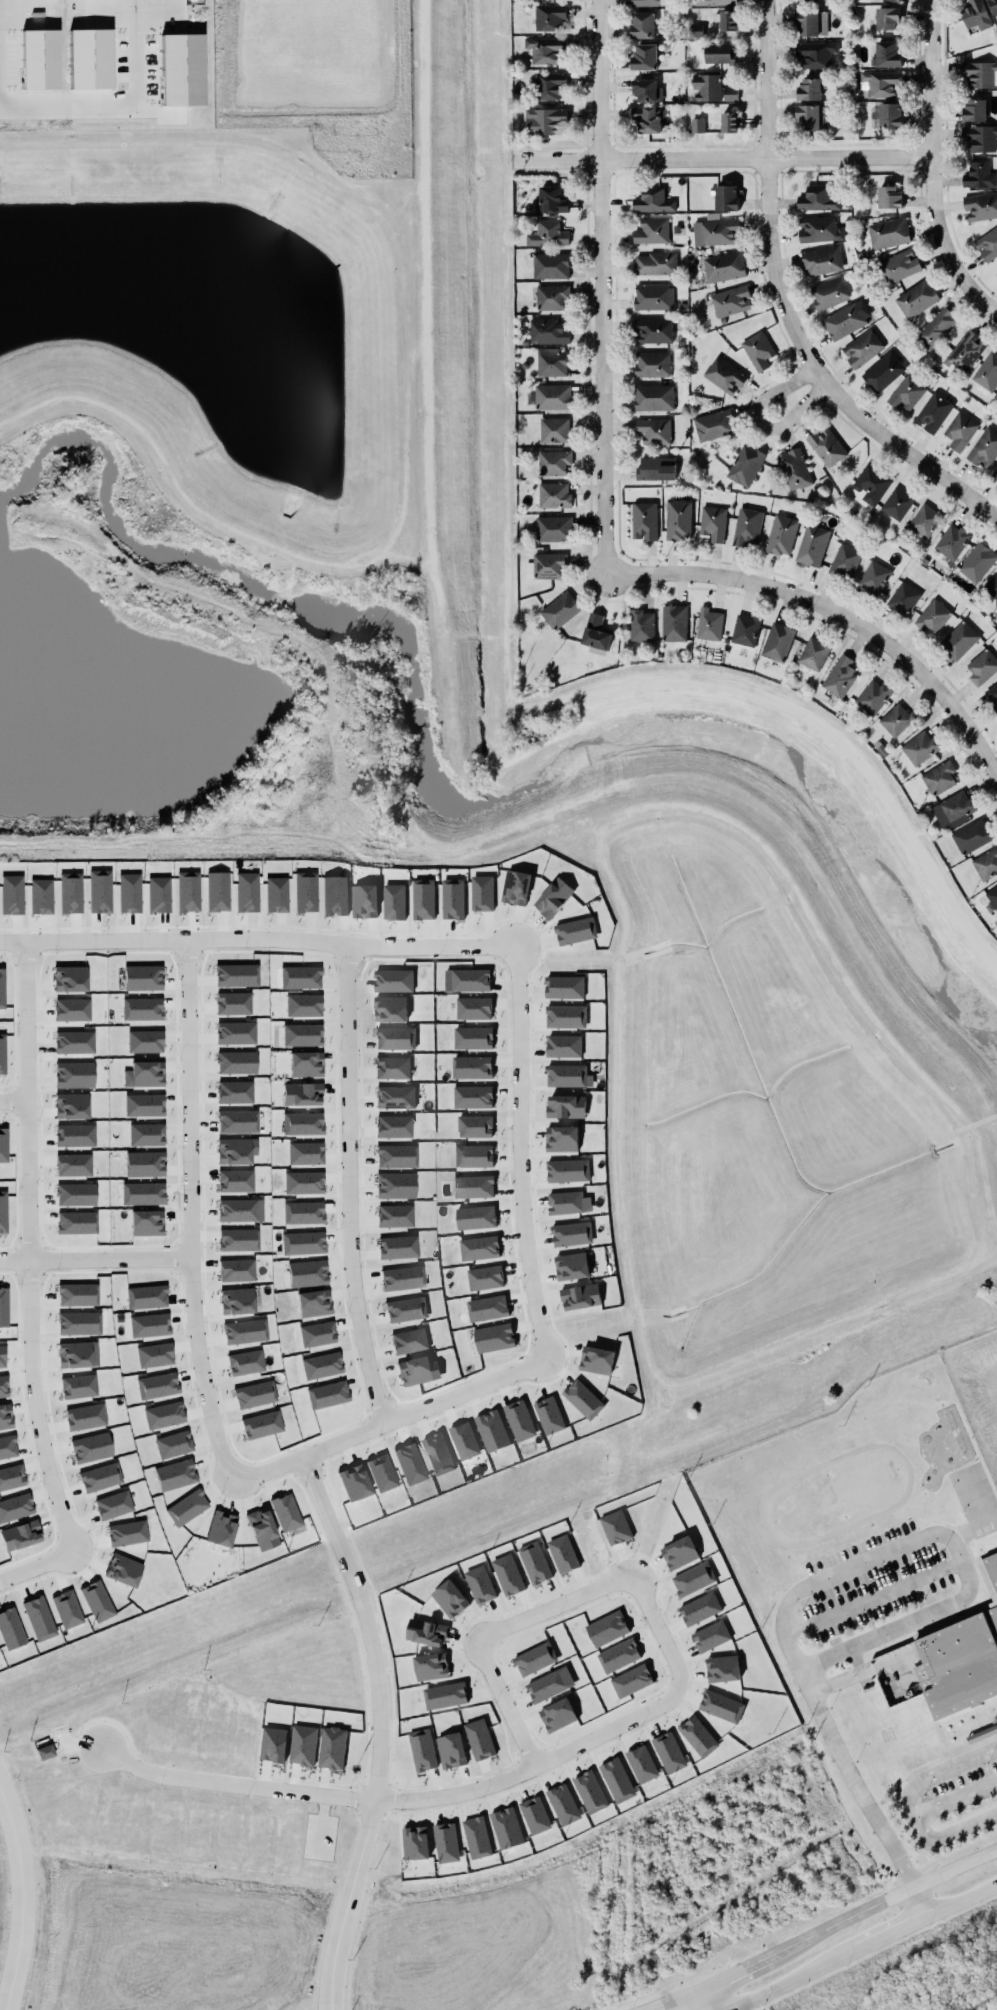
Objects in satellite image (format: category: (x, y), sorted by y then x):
building: (817, 0)
building: (650, 2)
building: (891, 2)
building: (714, 3)
building: (993, 6)
building: (975, 15)
building: (549, 17)
building: (884, 20)
building: (727, 22)
building: (641, 23)
building: (807, 23)
building: (694, 31)
building: (544, 47)
building: (815, 53)
building: (719, 54)
building: (643, 55)
building: (887, 56)
building: (90, 59)
building: (39, 60)
building: (181, 70)
building: (979, 73)
building: (547, 83)
building: (882, 85)
building: (643, 87)
building: (810, 89)
building: (712, 90)
road: (118, 106)
building: (974, 110)
building: (811, 117)
building: (648, 118)
building: (889, 118)
building: (542, 119)
building: (729, 123)
building: (695, 127)
building: (979, 137)
road: (719, 158)
road: (930, 168)
building: (977, 174)
road: (767, 189)
building: (887, 195)
building: (724, 197)
building: (651, 199)
building: (551, 200)
building: (816, 200)
building: (980, 206)
building: (650, 229)
building: (718, 230)
building: (819, 230)
building: (546, 232)
building: (887, 232)
building: (987, 242)
building: (821, 261)
building: (655, 264)
building: (549, 265)
building: (899, 266)
building: (724, 267)
building: (995, 272)
road: (601, 286)
building: (652, 295)
building: (828, 295)
building: (551, 297)
building: (915, 298)
building: (730, 301)
building: (844, 323)
building: (934, 326)
building: (652, 328)
building: (546, 330)
building: (756, 349)
building: (862, 350)
building: (965, 351)
building: (552, 362)
building: (650, 363)
building: (986, 369)
building: (723, 373)
building: (883, 373)
building: (907, 394)
building: (550, 395)
building: (652, 396)
building: (932, 414)
road: (759, 423)
building: (714, 425)
building: (553, 428)
building: (654, 431)
building: (960, 432)
building: (824, 445)
road: (899, 450)
building: (984, 450)
building: (551, 461)
building: (744, 464)
building: (792, 467)
building: (655, 469)
building: (994, 474)
building: (868, 484)
building: (554, 495)
building: (896, 502)
building: (676, 519)
building: (644, 520)
building: (925, 521)
building: (713, 523)
building: (552, 527)
building: (747, 527)
building: (779, 534)
building: (950, 540)
building: (810, 544)
building: (843, 560)
building: (976, 562)
building: (546, 564)
building: (872, 576)
building: (991, 587)
building: (903, 599)
building: (557, 609)
road: (835, 613)
building: (932, 616)
building: (672, 622)
building: (707, 623)
building: (641, 626)
building: (743, 628)
building: (594, 630)
building: (959, 640)
building: (776, 641)
building: (812, 653)
building: (981, 667)
building: (839, 677)
building: (991, 695)
building: (872, 697)
building: (895, 718)
building: (919, 748)
building: (938, 776)
building: (951, 807)
building: (969, 834)
building: (986, 861)
building: (516, 887)
building: (99, 891)
building: (10, 892)
building: (187, 892)
building: (217, 892)
building: (246, 892)
building: (305, 892)
building: (992, 892)
building: (70, 893)
building: (129, 893)
building: (482, 893)
building: (552, 893)
building: (40, 894)
building: (158, 895)
building: (276, 895)
building: (334, 895)
building: (423, 899)
building: (452, 899)
building: (364, 901)
building: (394, 901)
building: (574, 929)
road: (10, 944)
building: (68, 976)
building: (237, 976)
building: (142, 978)
building: (300, 978)
building: (393, 980)
building: (470, 980)
building: (564, 987)
building: (1, 989)
building: (233, 1004)
building: (303, 1006)
building: (390, 1008)
building: (473, 1008)
building: (141, 1009)
building: (72, 1010)
building: (565, 1016)
building: (235, 1033)
building: (301, 1035)
building: (395, 1038)
building: (473, 1038)
building: (145, 1042)
building: (74, 1043)
road: (512, 1043)
building: (563, 1046)
building: (2, 1054)
building: (236, 1063)
building: (305, 1064)
building: (472, 1067)
building: (392, 1068)
building: (72, 1073)
building: (146, 1074)
building: (566, 1076)
building: (234, 1092)
building: (301, 1094)
building: (393, 1096)
building: (473, 1097)
road: (11, 1103)
building: (69, 1103)
building: (143, 1105)
building: (565, 1106)
building: (237, 1122)
building: (302, 1124)
building: (474, 1126)
building: (393, 1127)
building: (79, 1134)
building: (146, 1135)
building: (561, 1139)
building: (5, 1143)
building: (233, 1151)
building: (305, 1153)
building: (396, 1156)
building: (473, 1156)
building: (145, 1164)
building: (77, 1165)
building: (565, 1169)
building: (235, 1181)
building: (303, 1183)
building: (395, 1186)
building: (473, 1186)
road: (343, 1188)
building: (77, 1193)
building: (142, 1194)
building: (564, 1200)
building: (240, 1211)
building: (5, 1213)
building: (303, 1213)
building: (395, 1216)
building: (475, 1217)
building: (80, 1222)
building: (146, 1223)
building: (571, 1234)
building: (238, 1240)
building: (302, 1243)
building: (398, 1247)
building: (479, 1248)
road: (184, 1249)
road: (92, 1261)
building: (571, 1266)
building: (235, 1268)
building: (307, 1273)
building: (485, 1277)
building: (402, 1279)
road: (24, 1285)
building: (77, 1295)
building: (146, 1297)
building: (580, 1297)
building: (236, 1301)
building: (313, 1303)
building: (4, 1307)
building: (487, 1308)
building: (406, 1309)
building: (79, 1323)
building: (149, 1325)
building: (245, 1332)
building: (317, 1334)
building: (493, 1335)
building: (409, 1341)
building: (74, 1355)
building: (154, 1355)
building: (2, 1357)
building: (596, 1360)
building: (245, 1363)
building: (321, 1366)
building: (415, 1371)
building: (157, 1386)
building: (3, 1387)
building: (78, 1387)
building: (255, 1395)
building: (327, 1395)
building: (582, 1399)
building: (164, 1415)
building: (548, 1415)
building: (5, 1417)
building: (85, 1417)
building: (519, 1420)
building: (261, 1425)
building: (491, 1431)
building: (464, 1440)
building: (173, 1445)
building: (7, 1447)
building: (91, 1448)
building: (437, 1454)
building: (410, 1464)
building: (382, 1473)
building: (175, 1475)
building: (11, 1477)
building: (100, 1477)
building: (354, 1483)
building: (113, 1505)
building: (15, 1508)
building: (186, 1508)
building: (286, 1513)
building: (221, 1529)
building: (262, 1530)
road: (973, 1530)
building: (127, 1533)
building: (20, 1536)
building: (991, 1567)
building: (123, 1570)
road: (833, 1575)
road: (872, 1599)
building: (97, 1601)
building: (67, 1609)
building: (39, 1619)
building: (10, 1630)
building: (959, 1665)
road: (848, 1679)
road: (374, 1731)
building: (981, 1733)
road: (590, 1737)
building: (422, 1750)
building: (451, 1750)
building: (44, 1752)
road: (938, 1771)
road: (956, 1800)
road: (949, 1836)
road: (953, 1867)
road: (915, 1900)
road: (958, 1900)
road: (876, 1902)
road: (16, 1909)
road: (887, 1931)
road: (748, 1968)
road: (793, 1978)
road: (719, 1998)
road: (688, 2003)

